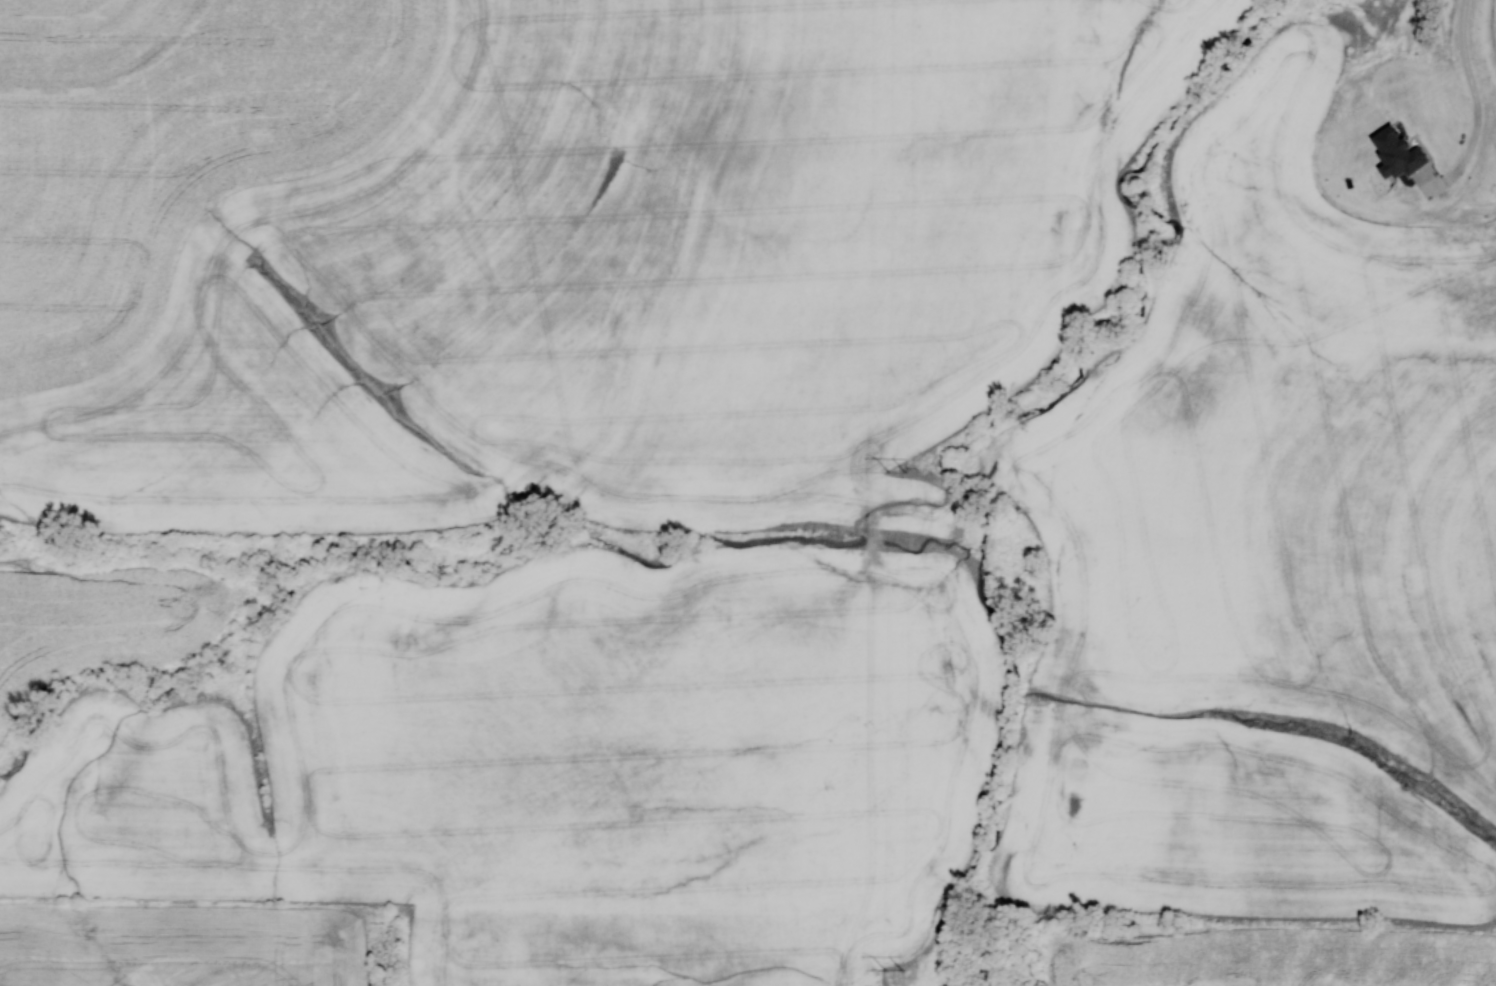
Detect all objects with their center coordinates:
road: (1476, 92)
power tower: (901, 475)

